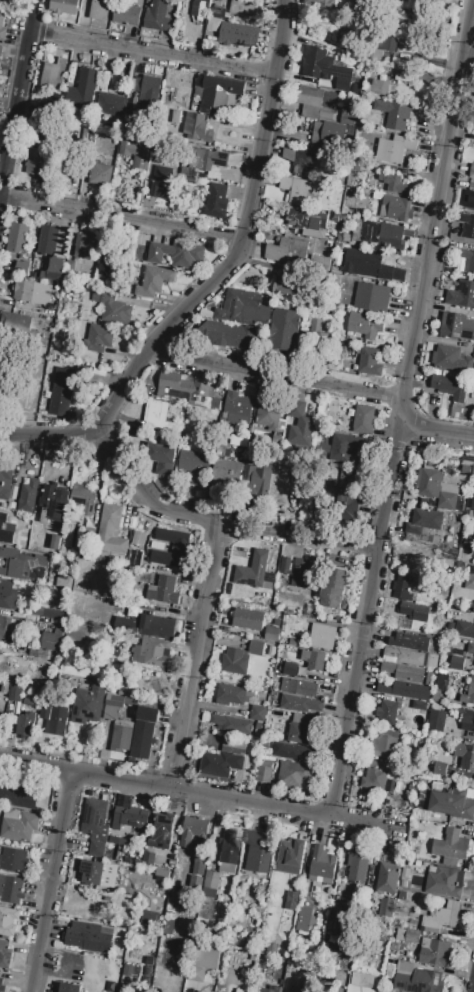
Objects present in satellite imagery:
building: (322, 4)
building: (64, 6)
building: (245, 8)
building: (101, 10)
building: (199, 11)
building: (126, 15)
building: (158, 16)
building: (1, 20)
building: (231, 37)
building: (387, 43)
road: (154, 51)
building: (1, 53)
building: (326, 68)
building: (53, 74)
building: (380, 87)
building: (82, 90)
building: (217, 92)
building: (150, 95)
road: (18, 97)
building: (318, 103)
building: (111, 105)
building: (394, 116)
building: (347, 118)
building: (198, 129)
building: (332, 133)
building: (395, 149)
building: (137, 154)
building: (209, 161)
building: (37, 162)
building: (303, 162)
building: (98, 171)
building: (472, 172)
building: (163, 182)
building: (388, 184)
building: (299, 189)
building: (468, 199)
building: (215, 201)
building: (396, 209)
road: (122, 217)
building: (307, 223)
building: (467, 225)
building: (18, 238)
building: (391, 238)
building: (48, 240)
building: (86, 246)
building: (288, 251)
building: (178, 255)
building: (467, 259)
building: (107, 262)
building: (366, 264)
building: (22, 268)
building: (55, 268)
road: (210, 278)
building: (157, 284)
building: (288, 285)
building: (32, 291)
building: (462, 295)
building: (372, 298)
building: (113, 309)
building: (234, 322)
building: (18, 323)
building: (365, 325)
building: (457, 327)
building: (285, 330)
building: (99, 339)
building: (451, 359)
building: (370, 362)
road: (315, 387)
building: (450, 387)
building: (183, 389)
building: (63, 393)
building: (238, 406)
building: (157, 416)
building: (270, 417)
road: (401, 417)
building: (363, 420)
building: (301, 425)
building: (338, 452)
building: (161, 458)
building: (195, 467)
building: (226, 472)
building: (258, 479)
building: (6, 480)
building: (429, 483)
building: (29, 496)
building: (85, 498)
building: (55, 504)
building: (348, 508)
building: (427, 520)
building: (13, 524)
road: (218, 527)
building: (112, 530)
building: (5, 531)
building: (24, 539)
building: (56, 542)
building: (173, 548)
building: (22, 566)
building: (253, 570)
building: (298, 572)
building: (470, 580)
building: (66, 581)
building: (405, 587)
building: (334, 589)
building: (165, 591)
building: (124, 594)
building: (8, 596)
building: (413, 612)
building: (47, 613)
building: (248, 621)
building: (125, 624)
building: (5, 627)
building: (158, 627)
building: (464, 629)
building: (272, 634)
building: (323, 637)
building: (52, 642)
building: (410, 642)
building: (256, 648)
building: (470, 649)
building: (152, 652)
building: (39, 655)
building: (406, 657)
road: (195, 660)
building: (313, 660)
building: (236, 662)
building: (457, 664)
building: (290, 669)
building: (404, 672)
building: (299, 687)
building: (5, 688)
building: (401, 690)
building: (469, 694)
building: (15, 695)
building: (230, 695)
building: (115, 701)
building: (89, 704)
building: (300, 704)
building: (0, 711)
building: (387, 713)
building: (466, 719)
building: (54, 720)
building: (437, 722)
building: (26, 725)
building: (230, 725)
building: (305, 731)
building: (143, 733)
building: (122, 737)
building: (384, 745)
building: (291, 753)
building: (464, 757)
building: (223, 760)
building: (263, 774)
building: (292, 775)
building: (374, 776)
building: (16, 794)
road: (195, 796)
building: (453, 804)
building: (94, 817)
building: (132, 818)
building: (17, 826)
building: (193, 830)
building: (162, 832)
building: (451, 847)
building: (231, 851)
building: (259, 851)
building: (290, 857)
building: (13, 860)
building: (322, 865)
building: (198, 868)
building: (358, 868)
building: (92, 872)
building: (388, 879)
building: (211, 882)
building: (444, 882)
road: (52, 883)
building: (11, 889)
building: (291, 901)
building: (387, 908)
building: (435, 918)
building: (303, 920)
building: (8, 922)
building: (169, 927)
building: (408, 936)
building: (89, 937)
building: (272, 948)
building: (435, 953)
building: (5, 955)
building: (247, 956)
building: (203, 958)
building: (0, 973)
building: (417, 979)
building: (362, 980)
building: (1, 985)
building: (69, 987)
building: (268, 989)
building: (303, 989)

